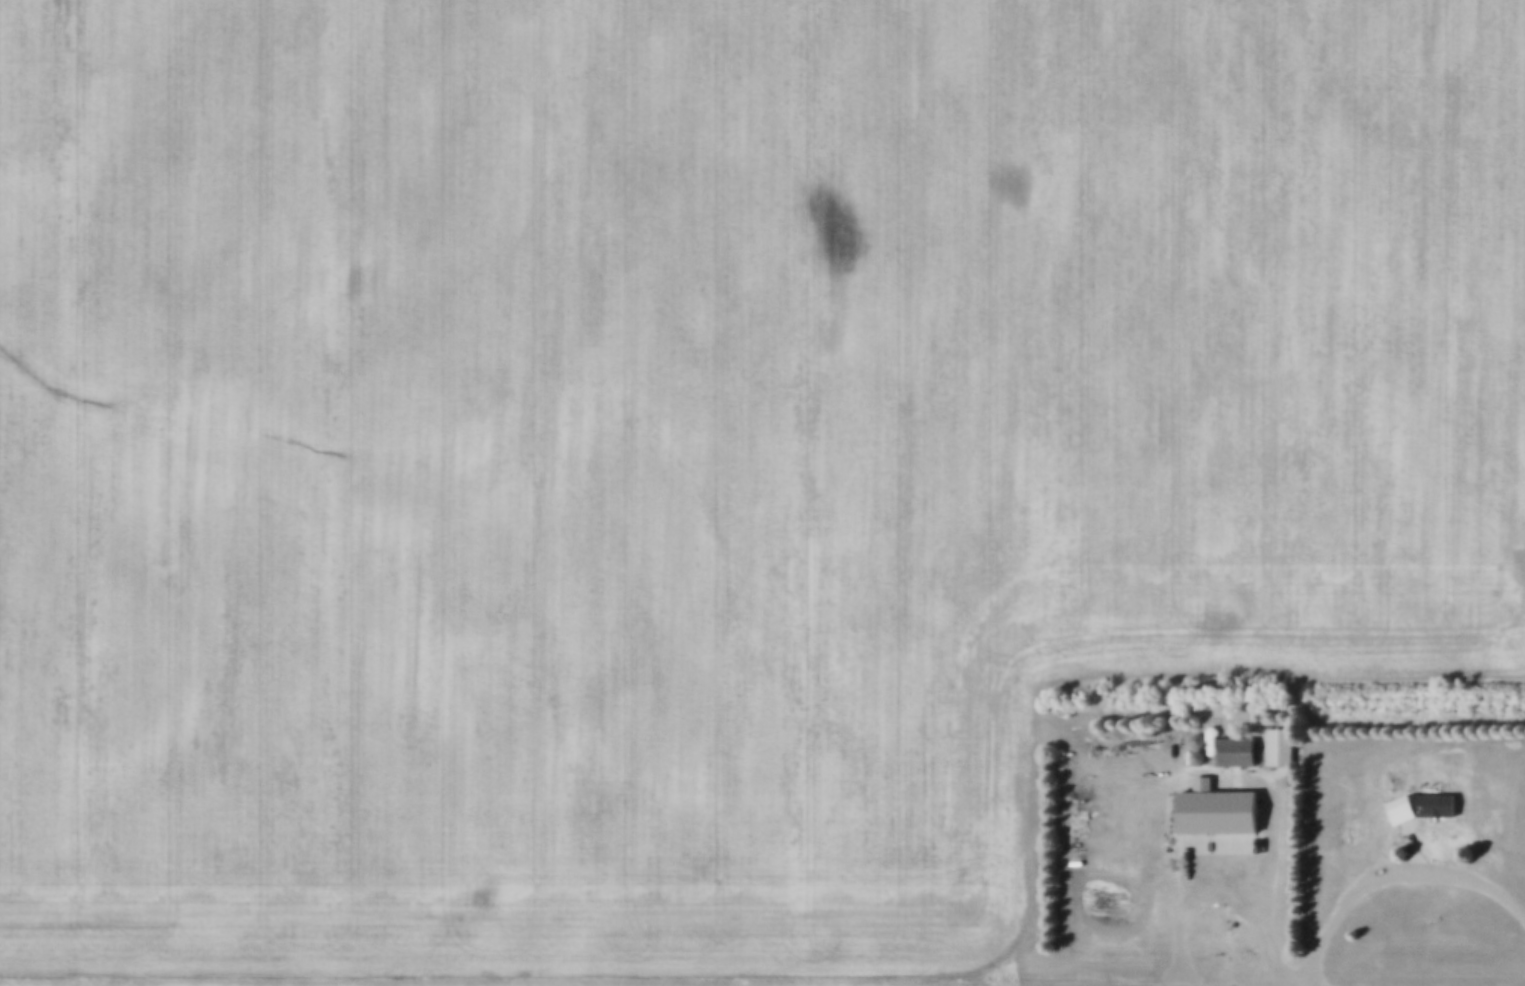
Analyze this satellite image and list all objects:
building: (1193, 733)
silo: (1193, 733)
building: (1275, 739)
building: (1231, 743)
building: (1192, 750)
silo: (1192, 750)
building: (1387, 775)
building: (1428, 798)
building: (1228, 804)
road: (1391, 873)
road: (1247, 909)

